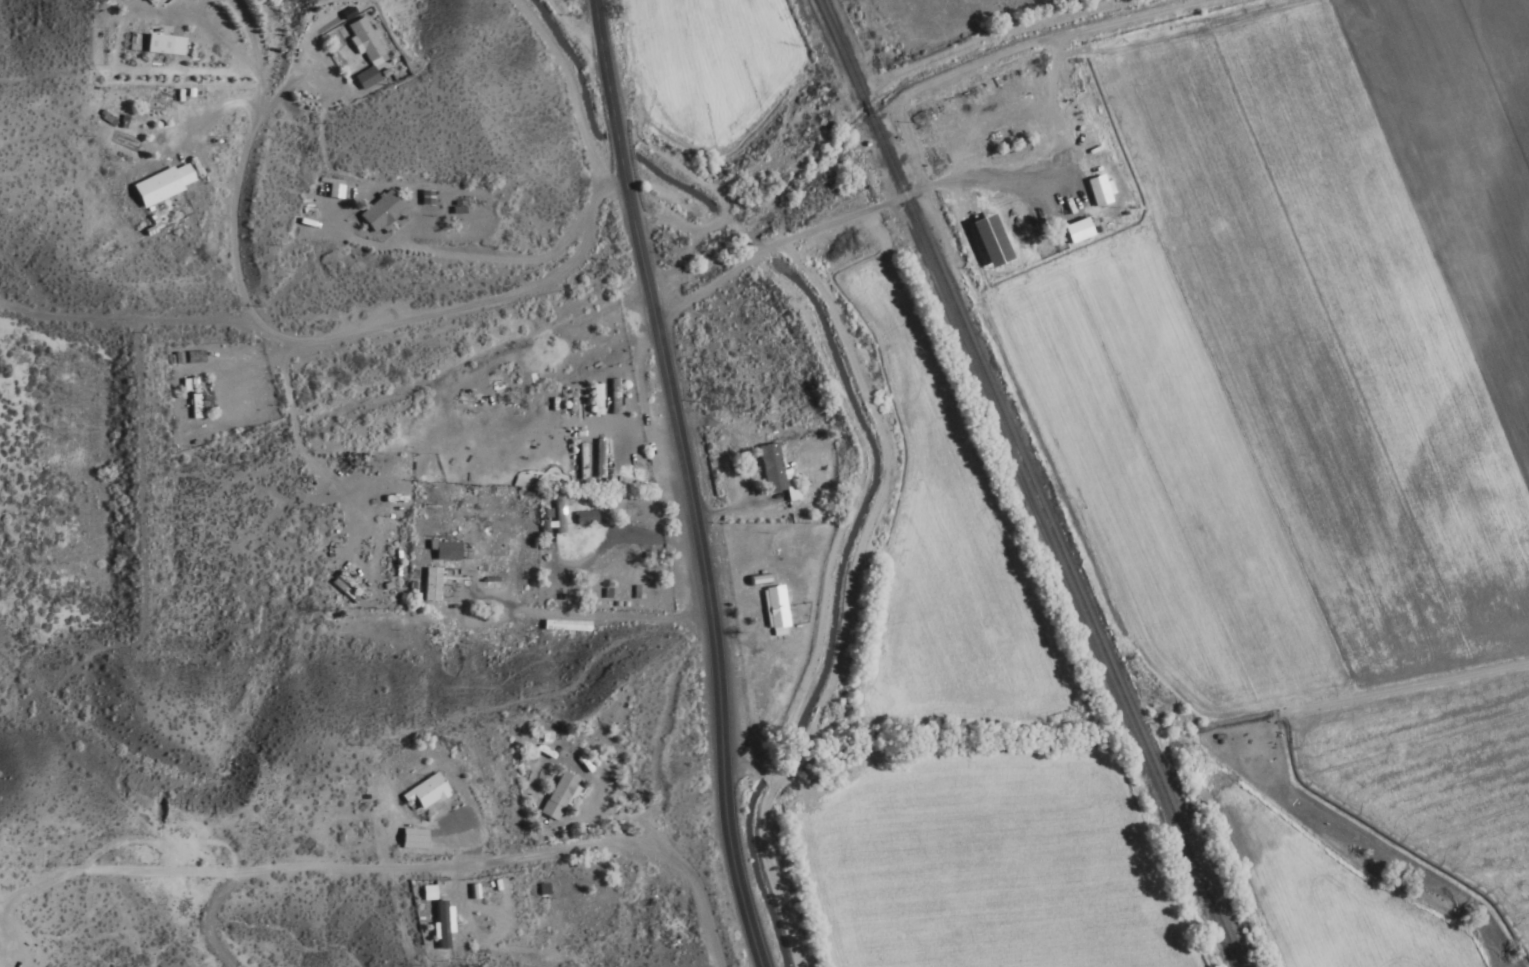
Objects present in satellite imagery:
road: (564, 29)
building: (360, 43)
building: (152, 45)
railway: (839, 49)
road: (565, 94)
railway: (864, 109)
road: (233, 168)
building: (159, 185)
road: (660, 196)
road: (711, 198)
building: (1096, 202)
building: (454, 211)
building: (376, 212)
building: (986, 241)
road: (774, 244)
road: (669, 266)
road: (332, 335)
building: (192, 358)
building: (189, 396)
road: (284, 419)
building: (597, 460)
building: (581, 463)
building: (771, 472)
road: (677, 482)
road: (844, 507)
building: (556, 515)
building: (583, 518)
railway: (1051, 541)
building: (443, 552)
building: (349, 586)
building: (428, 586)
road: (843, 599)
building: (772, 609)
road: (743, 770)
building: (422, 793)
building: (555, 797)
road: (461, 862)

